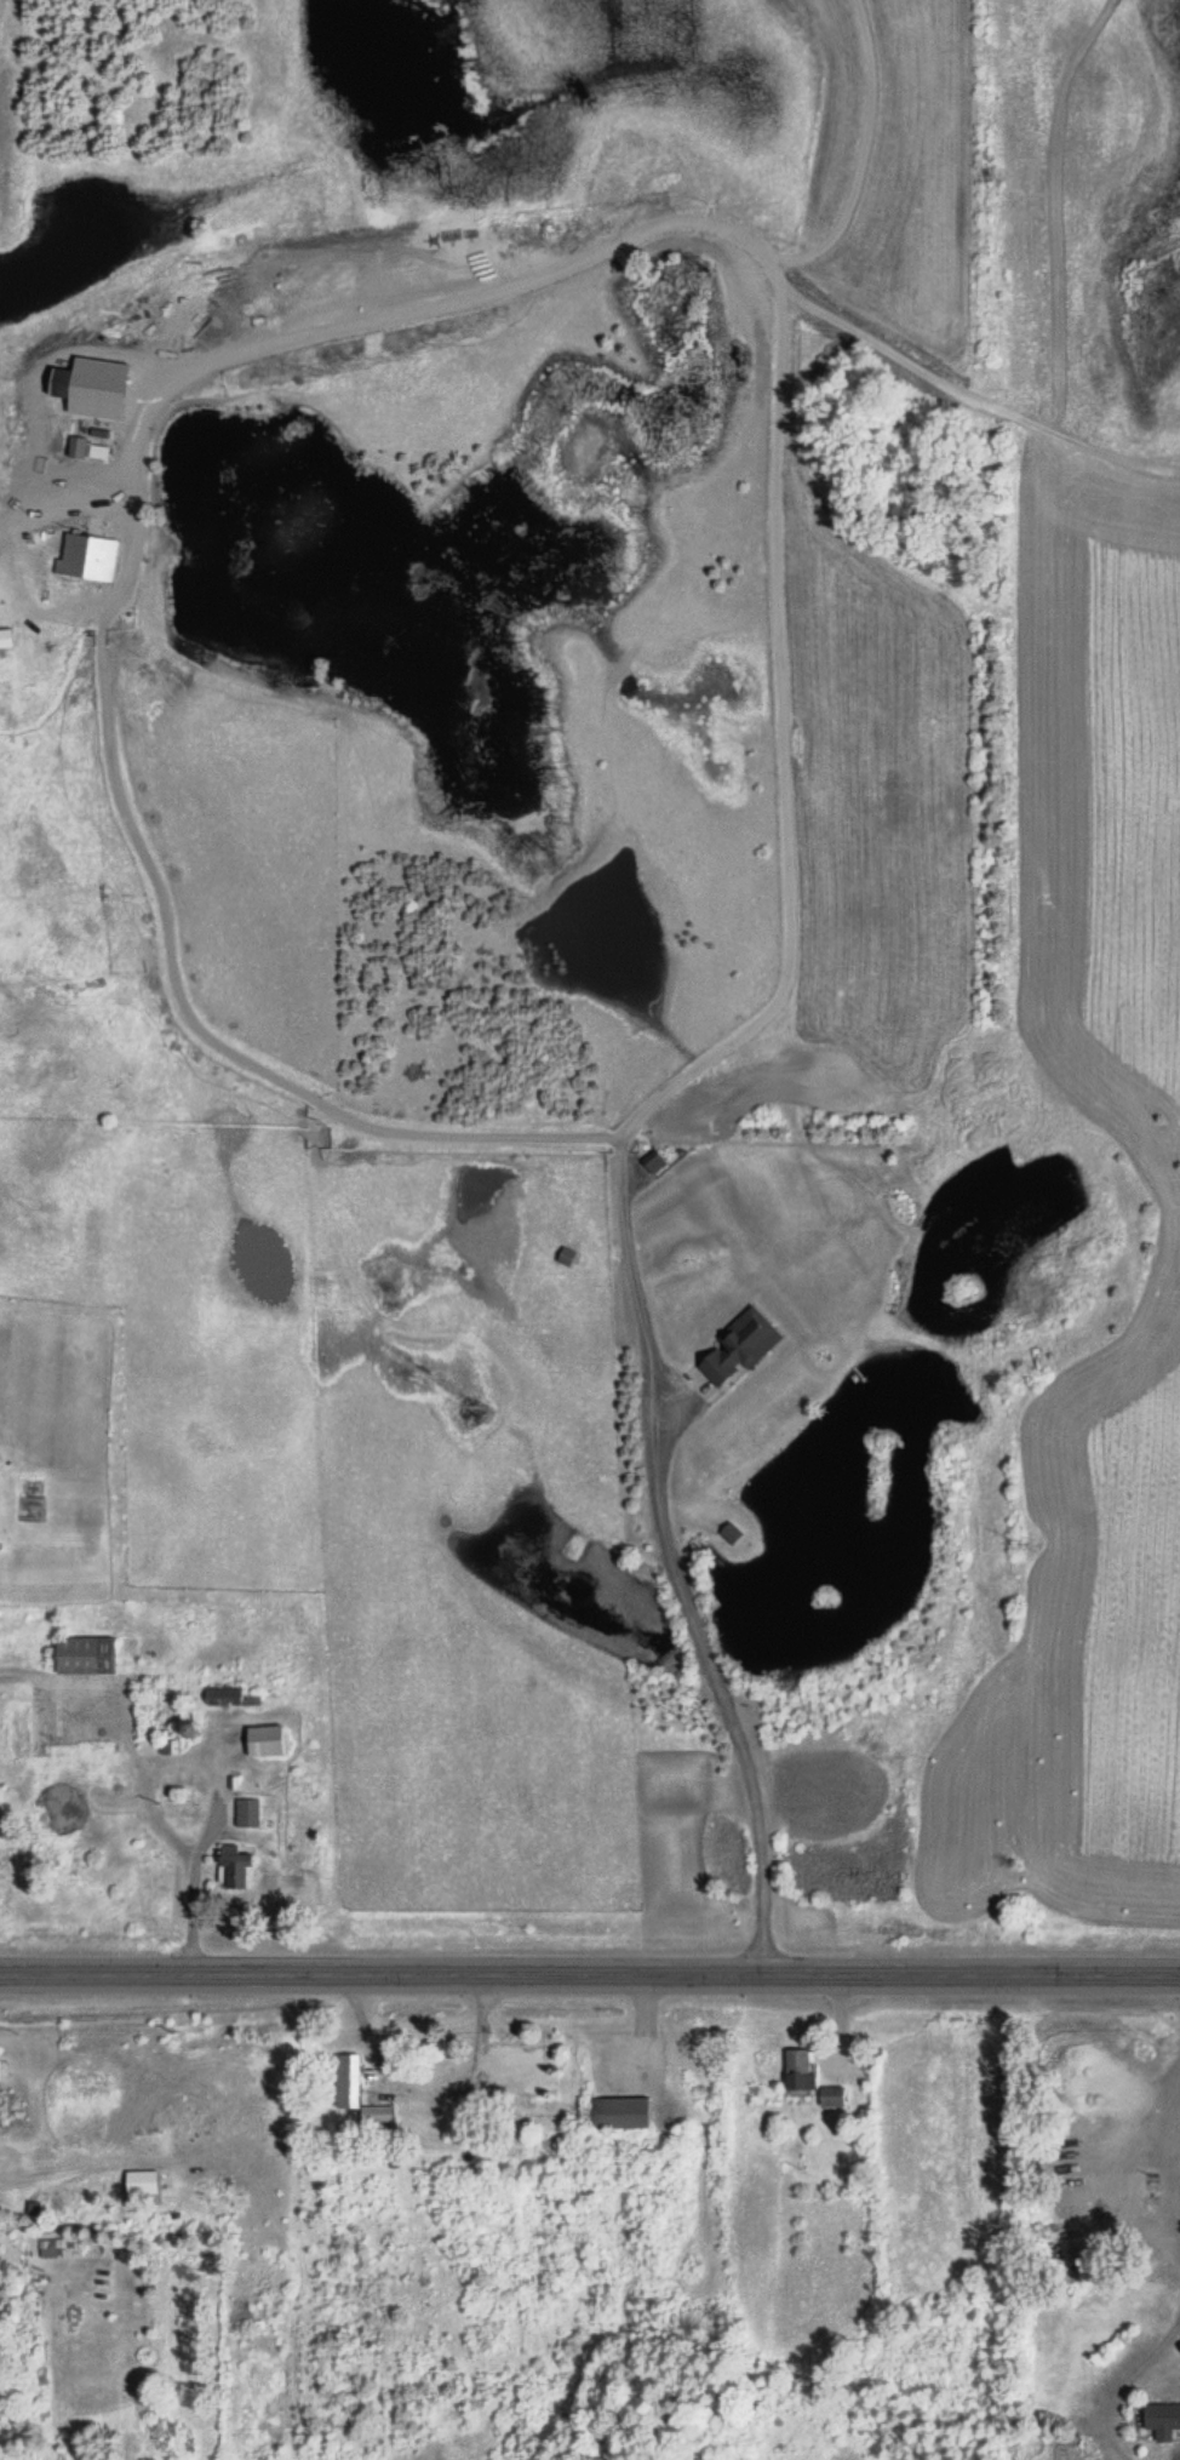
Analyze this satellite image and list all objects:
building: (97, 387)
building: (86, 448)
building: (86, 556)
building: (738, 1348)
building: (729, 1534)
building: (84, 1655)
building: (231, 1695)
building: (265, 1740)
building: (247, 1812)
building: (233, 1865)
road: (590, 1969)
building: (522, 2065)
building: (798, 2067)
building: (346, 2079)
building: (831, 2095)
building: (619, 2111)
building: (376, 2113)
building: (141, 2181)
building: (53, 2247)
building: (4, 2278)
building: (1162, 2418)

